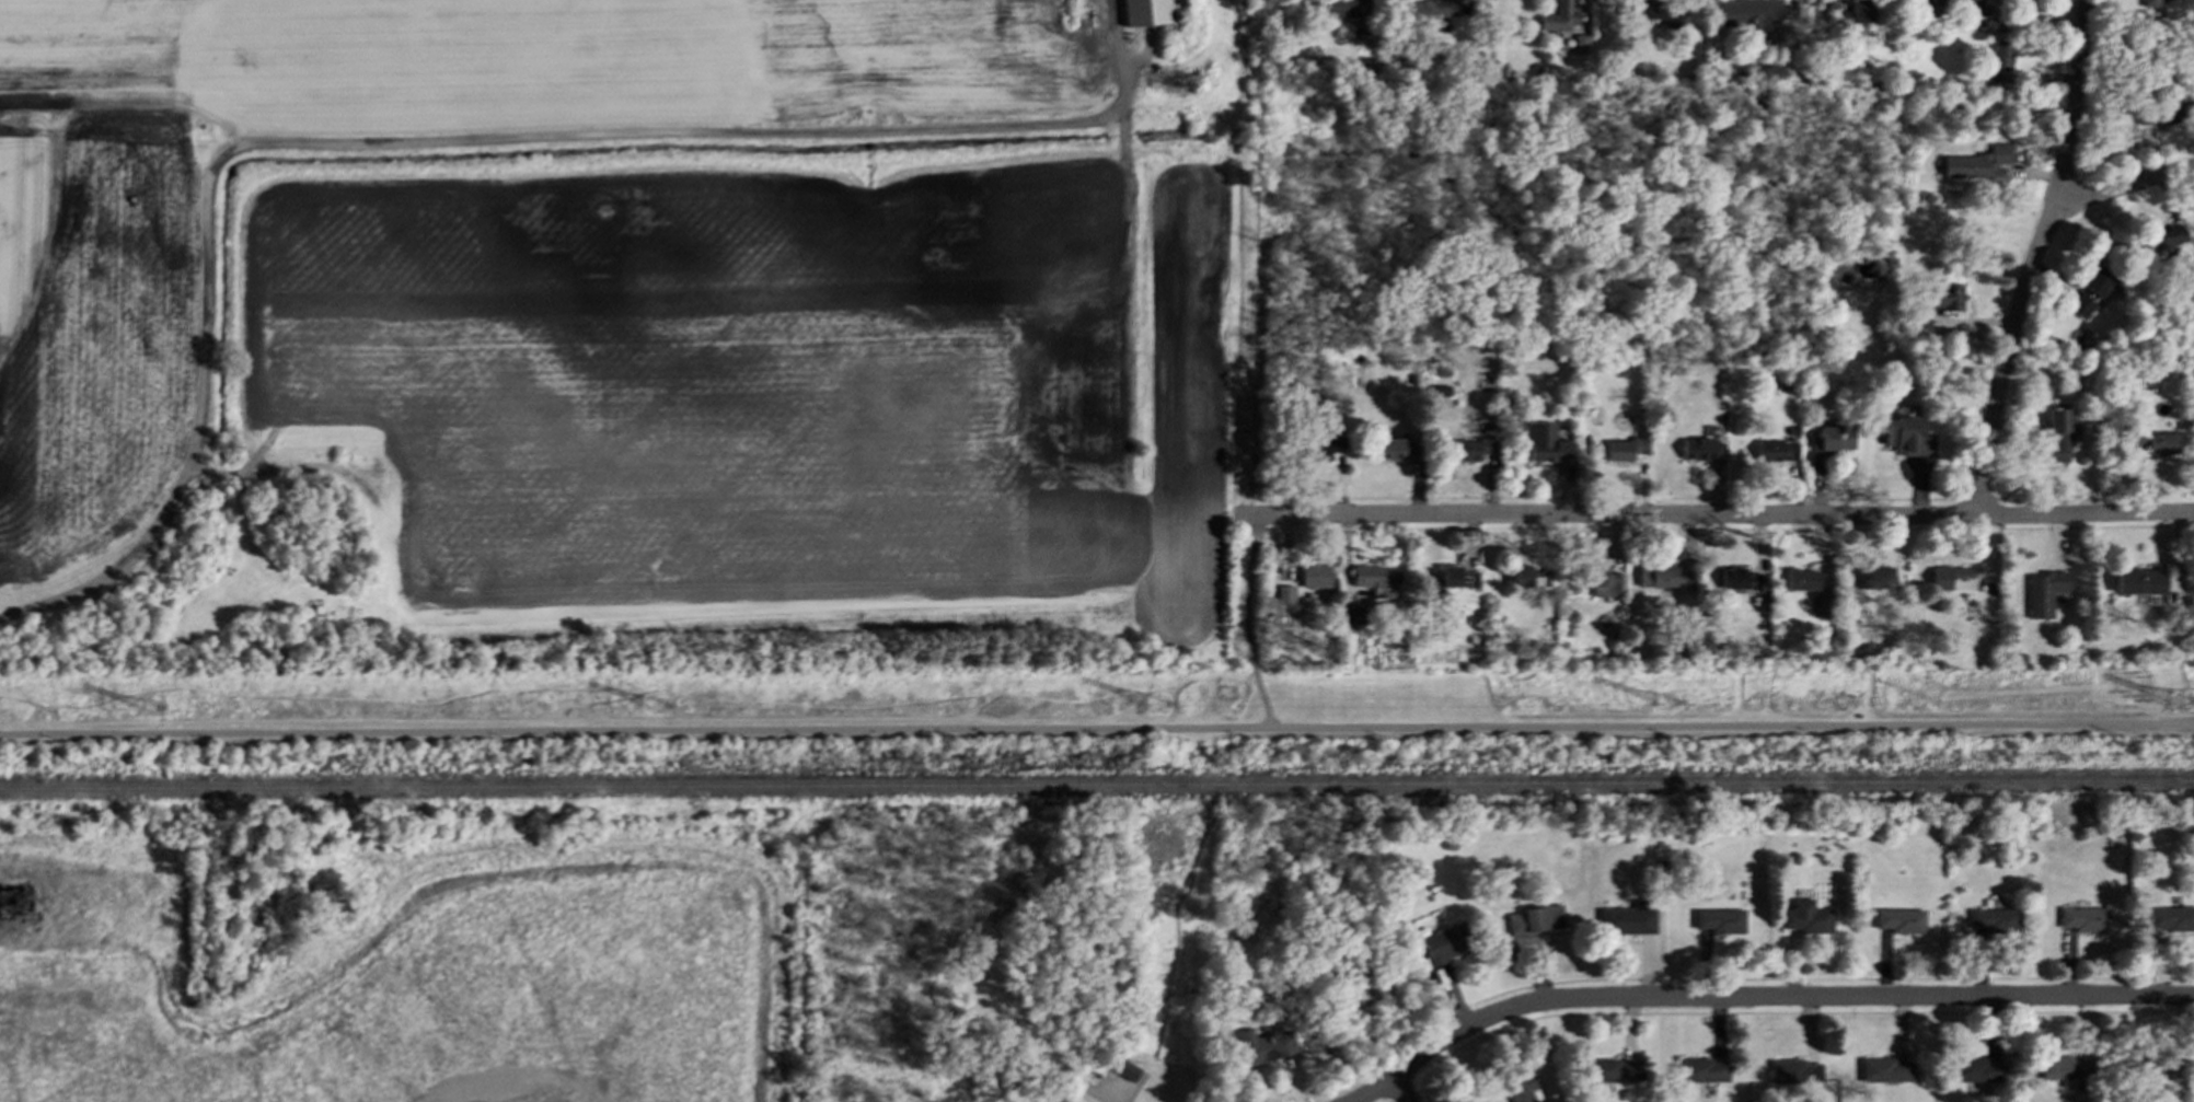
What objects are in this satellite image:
building: (2153, 0)
building: (1941, 1)
building: (1342, 8)
building: (1436, 8)
building: (1642, 10)
building: (1855, 11)
building: (1146, 12)
building: (1750, 14)
building: (1559, 18)
building: (1997, 60)
building: (2162, 113)
road: (438, 131)
building: (1977, 164)
road: (2125, 187)
building: (2169, 235)
road: (2034, 258)
building: (2089, 293)
building: (1947, 295)
crop: (623, 338)
building: (2058, 432)
building: (1905, 437)
building: (1832, 439)
building: (2156, 442)
building: (1546, 443)
building: (1327, 448)
building: (1473, 449)
building: (1625, 449)
building: (1701, 449)
building: (1397, 450)
road: (1716, 517)
building: (1315, 576)
building: (1948, 576)
building: (1528, 577)
building: (1663, 577)
building: (1874, 577)
building: (1739, 578)
building: (1374, 579)
building: (1452, 579)
building: (1802, 579)
building: (1602, 581)
building: (2139, 581)
building: (2044, 592)
building: (1284, 594)
building: (1821, 606)
building: (1353, 615)
road: (1248, 623)
power tower: (1159, 705)
power tower: (1668, 705)
power tower: (2179, 705)
power tower: (661, 708)
power tower: (155, 710)
road: (1097, 728)
railway: (1097, 788)
building: (1806, 917)
building: (1627, 918)
building: (2171, 918)
building: (2083, 919)
building: (1534, 920)
building: (1719, 920)
building: (1899, 920)
building: (1445, 943)
road: (1760, 998)
building: (1265, 1044)
building: (1127, 1069)
building: (1702, 1069)
building: (1885, 1069)
building: (2065, 1069)
building: (1609, 1070)
building: (1977, 1070)
building: (2164, 1070)
building: (1794, 1071)
building: (1523, 1090)
road: (1397, 1091)
road: (1106, 1098)

